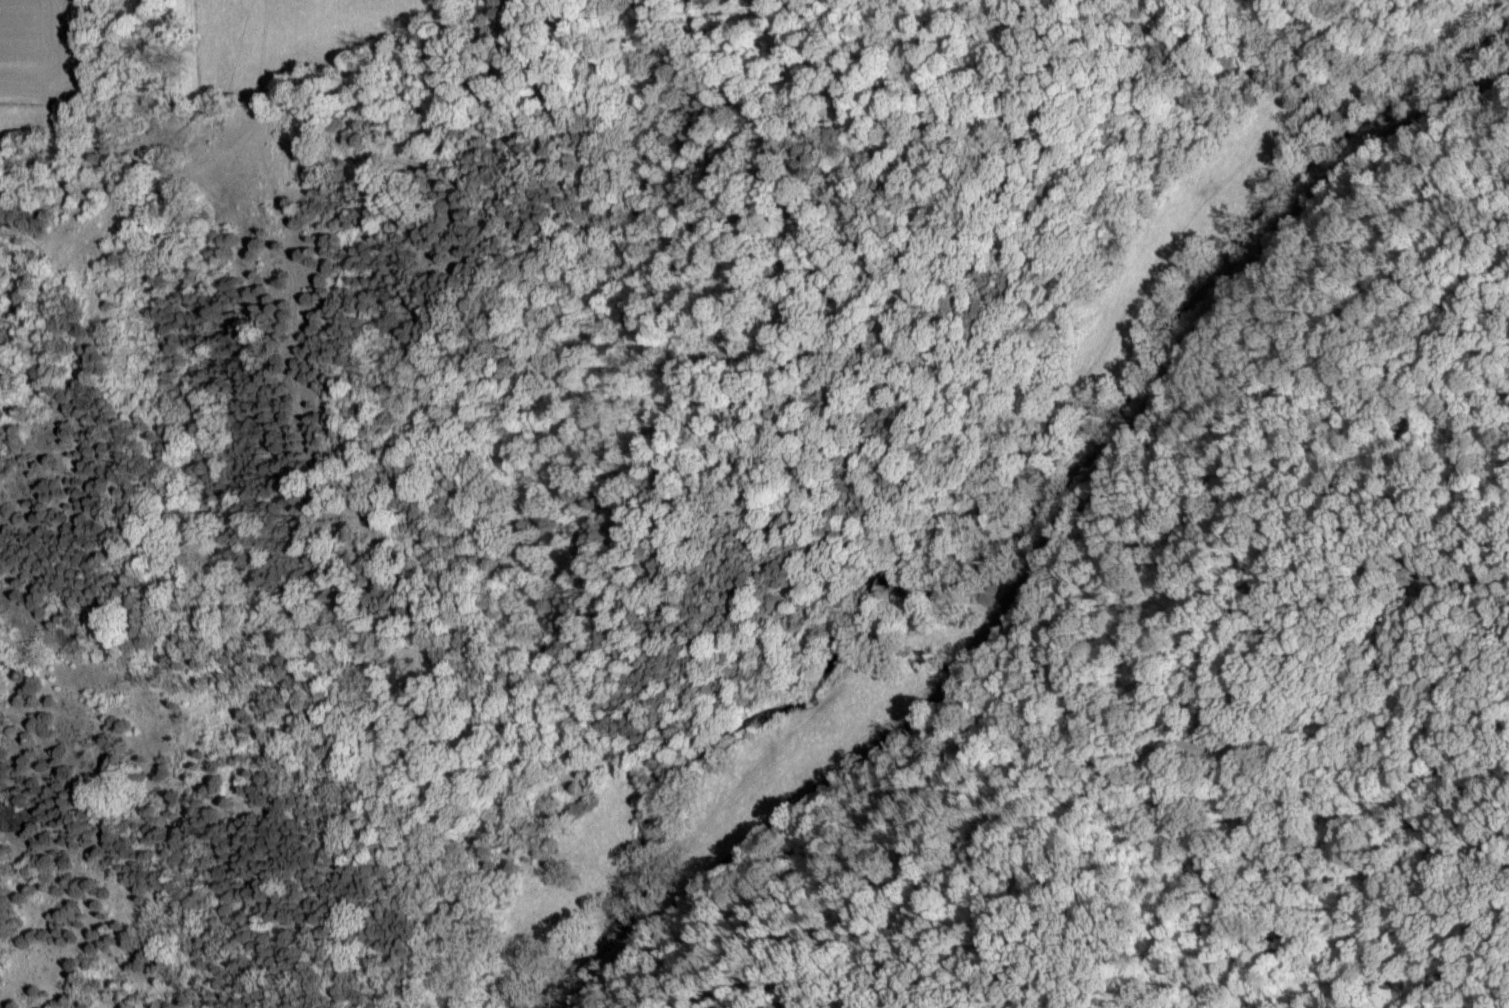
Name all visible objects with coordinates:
crop: (296, 40)
crop: (40, 63)
road: (1040, 544)

